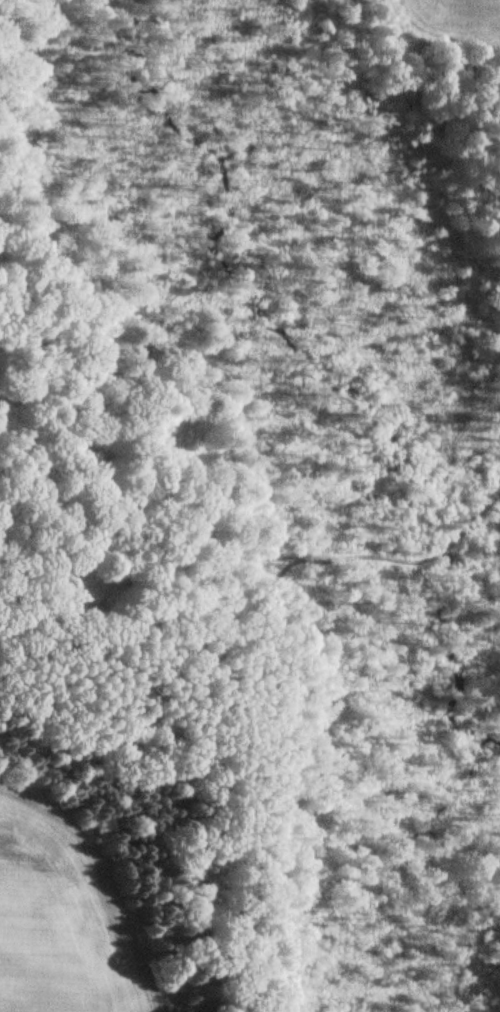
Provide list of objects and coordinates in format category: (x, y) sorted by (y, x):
road: (120, 857)

